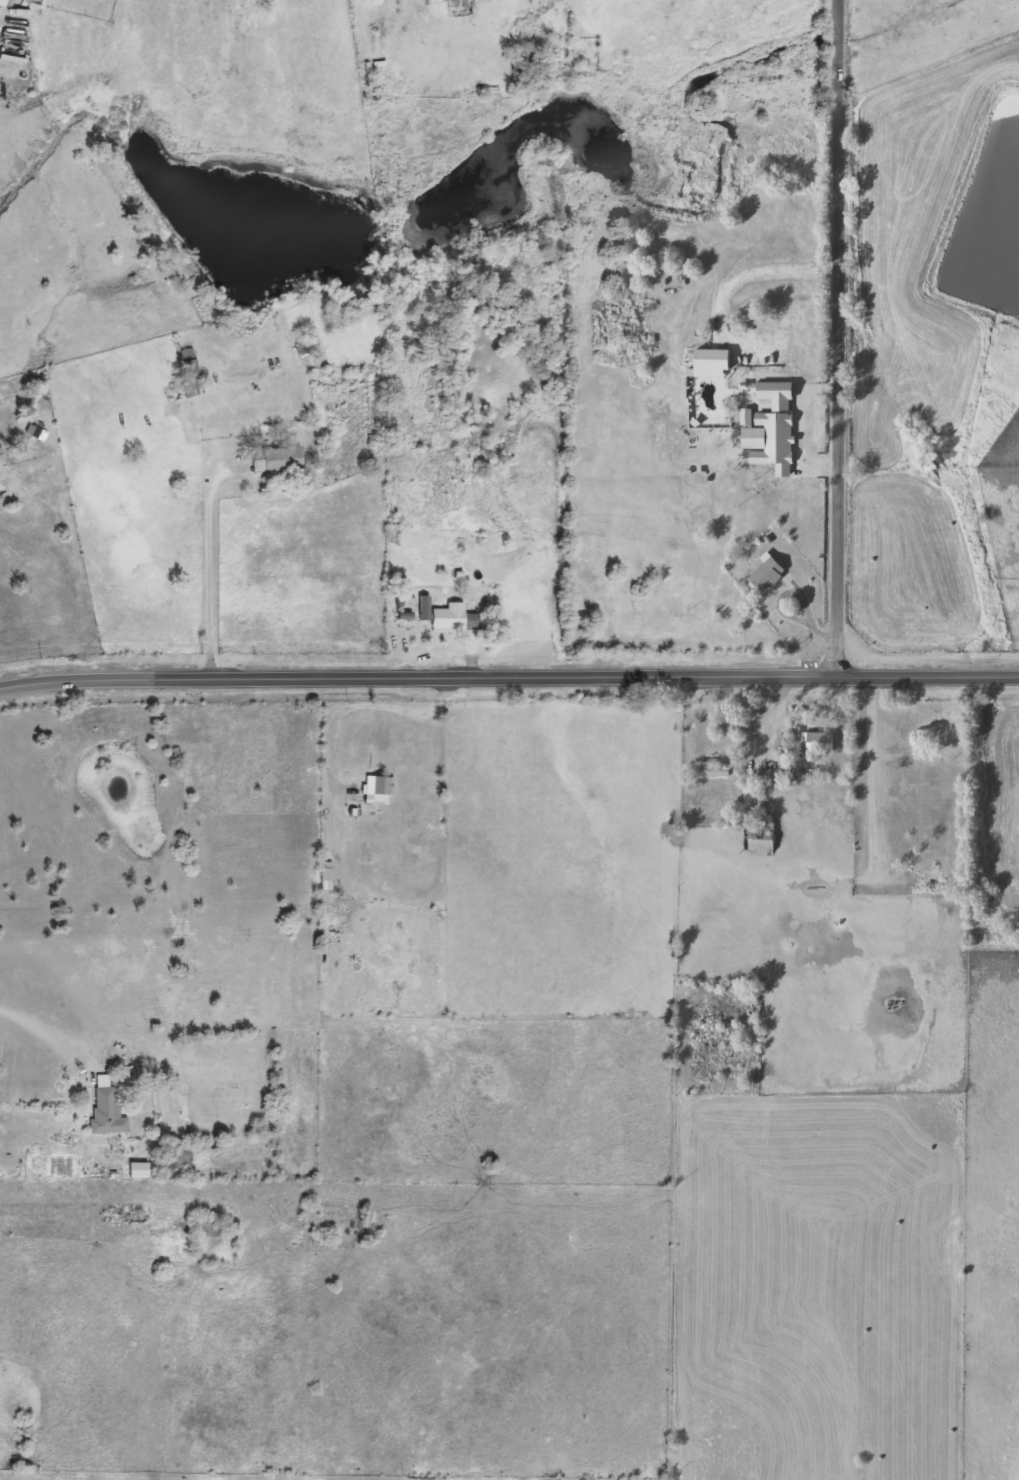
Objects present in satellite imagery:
road: (757, 269)
road: (840, 339)
building: (191, 372)
road: (802, 422)
building: (38, 432)
building: (280, 459)
building: (767, 572)
road: (210, 591)
building: (455, 617)
road: (509, 681)
road: (357, 707)
building: (728, 722)
building: (783, 740)
building: (820, 742)
building: (928, 763)
building: (711, 768)
road: (873, 777)
building: (383, 784)
building: (759, 834)
building: (925, 868)
building: (344, 905)
road: (40, 1031)
building: (108, 1110)
building: (177, 1156)
building: (125, 1217)
building: (208, 1227)

